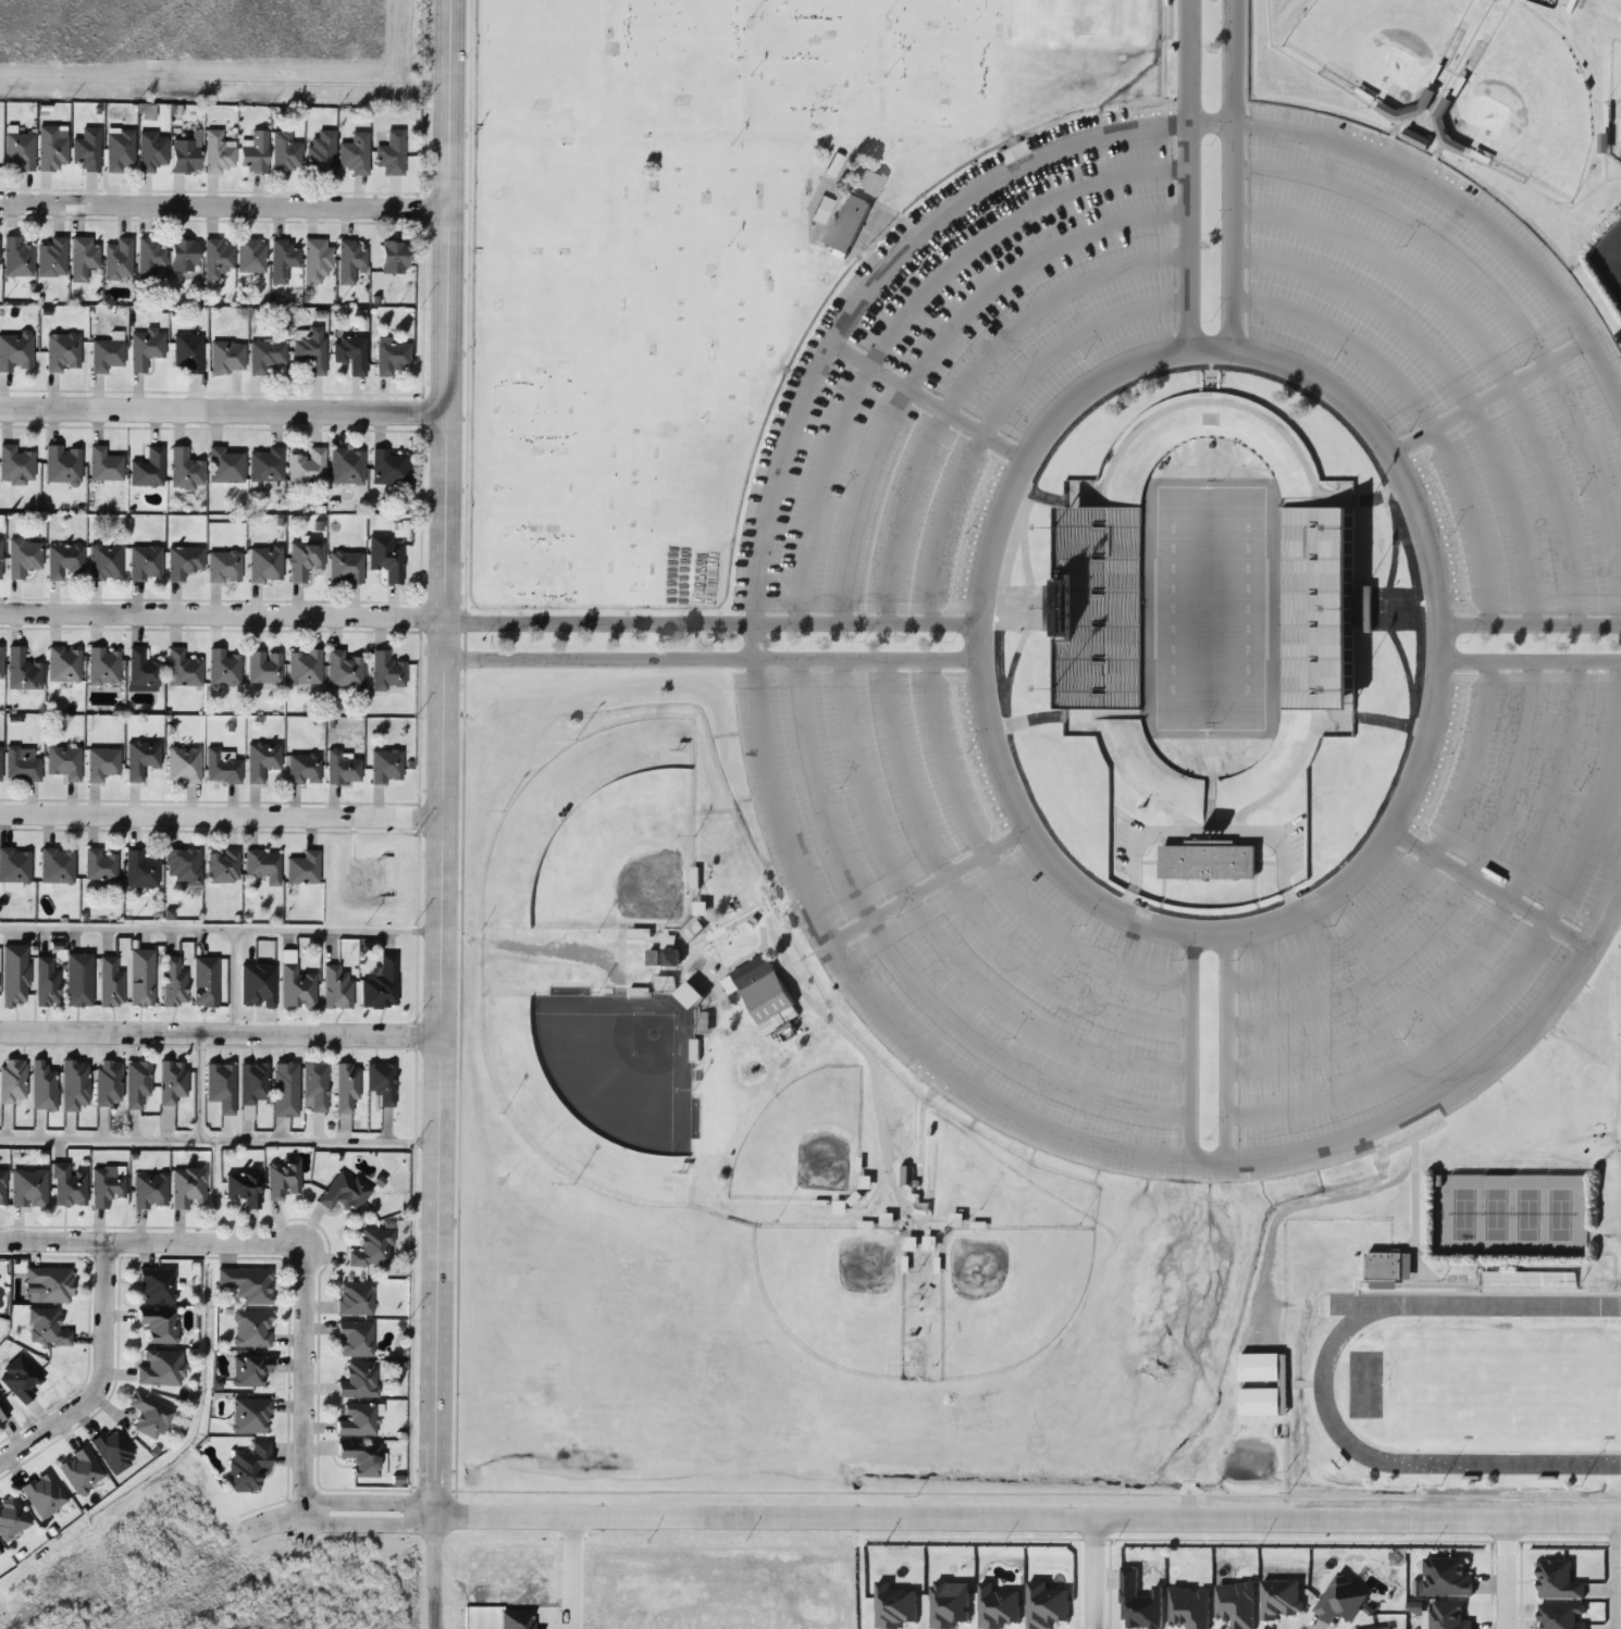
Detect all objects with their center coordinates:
park: (1080, 21)
park: (1378, 42)
park: (1614, 102)
park: (1525, 104)
road: (1210, 119)
building: (1415, 140)
building: (51, 146)
building: (1453, 146)
building: (87, 149)
building: (119, 149)
building: (151, 150)
building: (18, 151)
building: (253, 151)
building: (218, 152)
building: (284, 152)
building: (320, 152)
building: (185, 153)
building: (354, 153)
building: (391, 153)
road: (1186, 172)
road: (1234, 172)
building: (869, 183)
road: (1471, 206)
road: (223, 207)
building: (821, 209)
building: (846, 223)
building: (184, 254)
building: (250, 254)
building: (16, 257)
building: (149, 257)
building: (394, 257)
building: (51, 258)
building: (83, 258)
building: (216, 258)
building: (116, 259)
building: (282, 260)
building: (315, 260)
building: (350, 260)
park: (1609, 260)
road: (869, 277)
road: (1512, 308)
road: (903, 311)
road: (933, 343)
road: (1486, 344)
building: (145, 348)
building: (311, 349)
building: (15, 351)
building: (187, 351)
building: (62, 352)
building: (350, 352)
building: (106, 355)
building: (265, 355)
building: (226, 357)
building: (391, 357)
parking lot: (1439, 363)
parking lot: (963, 371)
road: (965, 373)
road: (1452, 374)
road: (1486, 393)
road: (925, 398)
road: (994, 403)
road: (1421, 407)
road: (223, 409)
building: (62, 464)
building: (103, 464)
building: (265, 464)
building: (14, 465)
building: (224, 465)
building: (346, 465)
building: (307, 467)
building: (387, 468)
building: (147, 469)
building: (185, 469)
building: (23, 557)
building: (0, 558)
building: (304, 559)
building: (64, 560)
building: (386, 560)
building: (183, 561)
building: (104, 562)
building: (144, 562)
building: (265, 563)
building: (223, 565)
building: (346, 568)
building: (1102, 608)
building: (1317, 609)
park: (1207, 611)
road: (222, 614)
road: (709, 615)
road: (1530, 621)
road: (752, 634)
road: (976, 636)
road: (1439, 637)
road: (709, 651)
road: (1530, 656)
building: (0, 662)
building: (63, 664)
building: (103, 666)
building: (223, 667)
building: (304, 667)
building: (264, 668)
building: (182, 669)
building: (22, 670)
building: (343, 670)
building: (141, 671)
building: (386, 671)
building: (140, 758)
building: (261, 759)
building: (63, 761)
building: (102, 762)
building: (183, 764)
building: (21, 766)
building: (221, 767)
building: (385, 767)
building: (342, 768)
building: (304, 769)
road: (441, 813)
road: (220, 816)
park: (597, 837)
building: (1209, 862)
building: (14, 863)
building: (57, 863)
building: (99, 863)
building: (263, 863)
building: (183, 865)
building: (222, 866)
road: (997, 867)
building: (140, 868)
building: (302, 868)
road: (1418, 868)
road: (928, 878)
road: (1486, 883)
road: (965, 898)
road: (1449, 900)
parking lot: (965, 915)
road: (220, 921)
parking lot: (1434, 927)
building: (692, 930)
road: (933, 930)
road: (1482, 933)
building: (672, 958)
road: (903, 959)
road: (1512, 965)
building: (14, 974)
road: (233, 977)
building: (140, 978)
building: (46, 981)
building: (205, 981)
building: (109, 982)
building: (173, 982)
building: (380, 984)
building: (296, 987)
building: (335, 987)
building: (759, 988)
road: (870, 993)
road: (219, 1030)
road: (1468, 1072)
building: (12, 1081)
building: (171, 1081)
road: (199, 1081)
building: (107, 1082)
building: (136, 1082)
building: (380, 1082)
building: (252, 1083)
building: (41, 1085)
building: (74, 1085)
building: (220, 1085)
building: (314, 1085)
building: (346, 1087)
park: (594, 1089)
road: (218, 1133)
park: (803, 1141)
road: (1207, 1158)
building: (282, 1178)
building: (864, 1183)
building: (67, 1185)
building: (1, 1186)
building: (186, 1186)
building: (28, 1187)
building: (106, 1187)
building: (243, 1187)
building: (149, 1191)
building: (344, 1191)
park: (1511, 1215)
road: (285, 1242)
building: (372, 1247)
building: (1388, 1268)
building: (1526, 1280)
building: (50, 1283)
building: (246, 1283)
building: (157, 1285)
park: (833, 1295)
park: (1006, 1296)
building: (355, 1297)
building: (159, 1323)
building: (46, 1328)
building: (251, 1329)
building: (355, 1338)
building: (160, 1368)
building: (249, 1370)
road: (101, 1380)
building: (358, 1380)
track: (1472, 1382)
building: (1261, 1384)
park: (1504, 1386)
building: (3, 1412)
building: (150, 1415)
building: (250, 1415)
building: (358, 1419)
building: (361, 1457)
building: (248, 1466)
building: (81, 1470)
building: (42, 1493)
road: (366, 1495)
road: (366, 1517)
road: (1026, 1517)
building: (11, 1518)
road: (275, 1518)
building: (0, 1551)
road: (570, 1571)
road: (1092, 1574)
road: (1502, 1575)
road: (1614, 1575)
building: (1448, 1577)
building: (1558, 1580)
building: (1280, 1597)
building: (1340, 1600)
building: (1139, 1603)
building: (1236, 1603)
building: (1189, 1607)
building: (1448, 1616)
building: (1561, 1616)
building: (1377, 1628)

